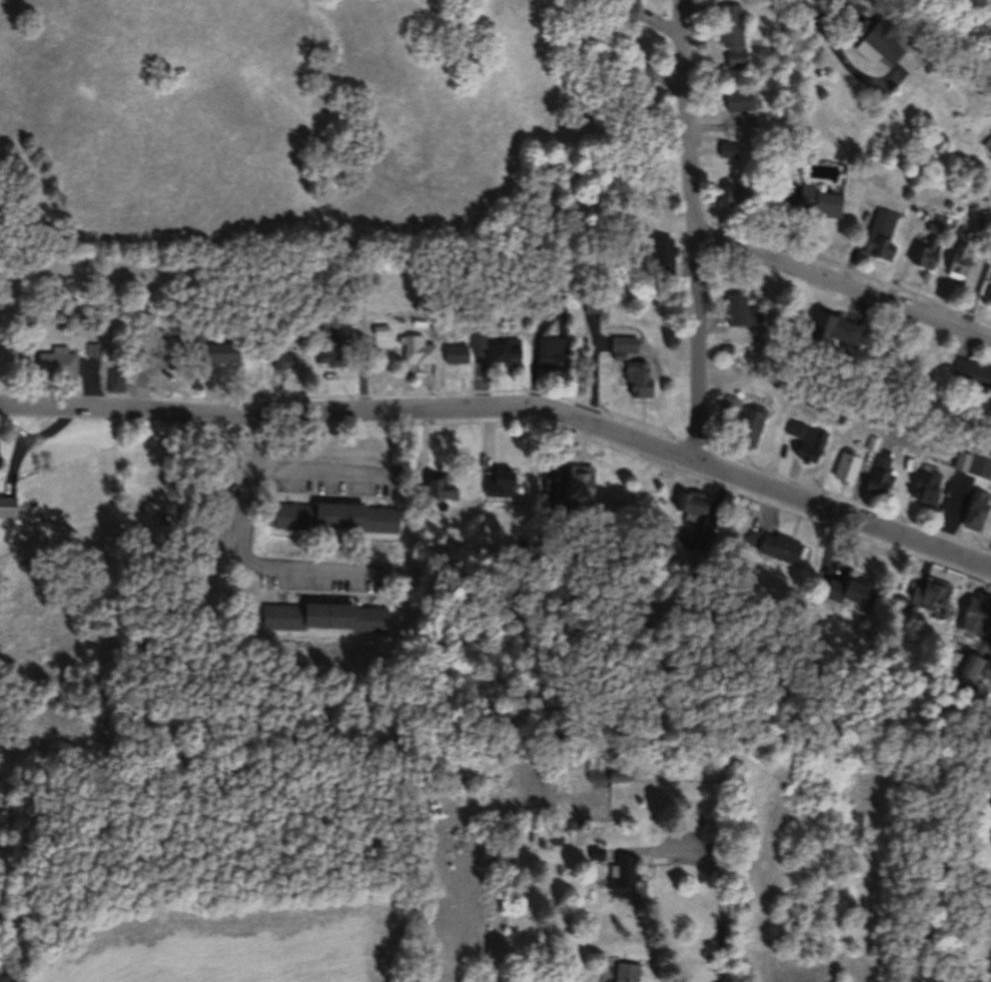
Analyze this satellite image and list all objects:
building: (839, 1)
building: (848, 2)
building: (624, 9)
road: (828, 16)
road: (846, 23)
building: (732, 36)
building: (875, 43)
road: (840, 58)
building: (637, 92)
building: (738, 102)
building: (727, 149)
building: (986, 151)
building: (733, 194)
building: (817, 200)
building: (946, 206)
road: (693, 227)
building: (931, 229)
building: (877, 244)
building: (923, 257)
building: (659, 258)
building: (957, 262)
road: (842, 282)
building: (554, 285)
road: (977, 285)
building: (988, 295)
building: (592, 301)
building: (739, 311)
building: (382, 328)
building: (831, 329)
building: (196, 338)
building: (625, 341)
building: (418, 348)
building: (553, 348)
building: (92, 349)
building: (332, 349)
building: (505, 349)
building: (218, 353)
building: (459, 353)
building: (8, 357)
building: (282, 360)
building: (58, 363)
building: (970, 374)
building: (639, 377)
building: (116, 378)
road: (508, 398)
building: (731, 401)
building: (751, 422)
building: (808, 436)
building: (874, 439)
building: (962, 458)
building: (849, 466)
road: (326, 468)
building: (882, 468)
building: (500, 478)
building: (583, 478)
building: (928, 481)
building: (445, 484)
building: (693, 497)
building: (559, 501)
building: (8, 502)
building: (977, 504)
building: (340, 510)
building: (743, 513)
building: (161, 524)
building: (704, 531)
building: (751, 532)
building: (526, 537)
building: (782, 542)
road: (250, 550)
building: (847, 587)
building: (932, 588)
building: (327, 610)
building: (977, 612)
building: (970, 663)
building: (988, 666)
building: (614, 772)
building: (990, 801)
building: (573, 823)
road: (645, 851)
building: (595, 853)
building: (622, 879)
road: (719, 908)
road: (972, 939)
building: (625, 973)
building: (958, 975)

